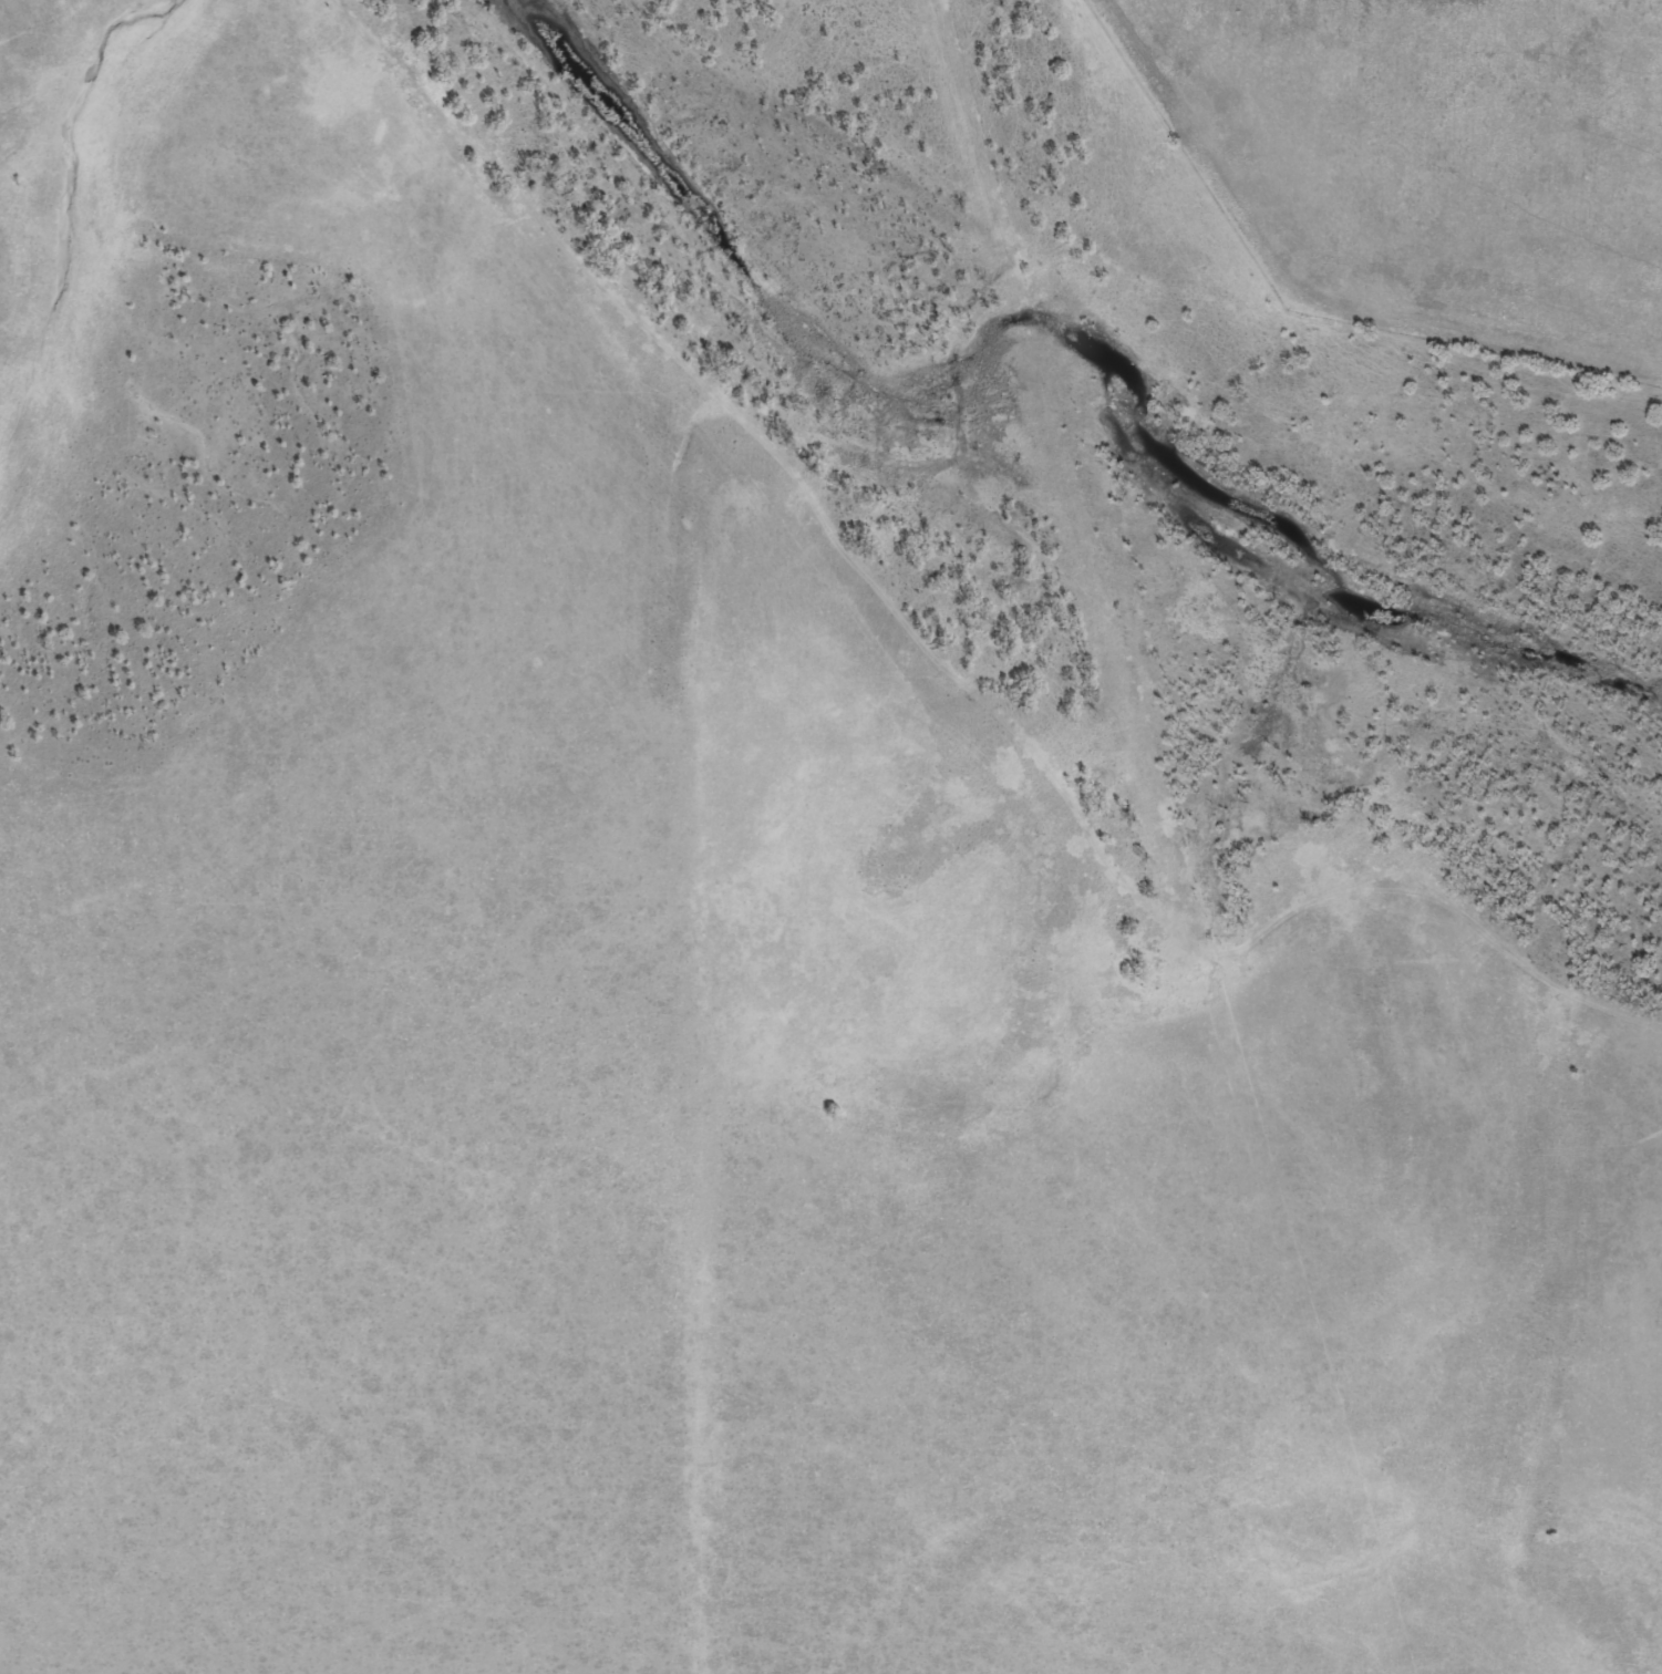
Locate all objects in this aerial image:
road: (949, 670)

